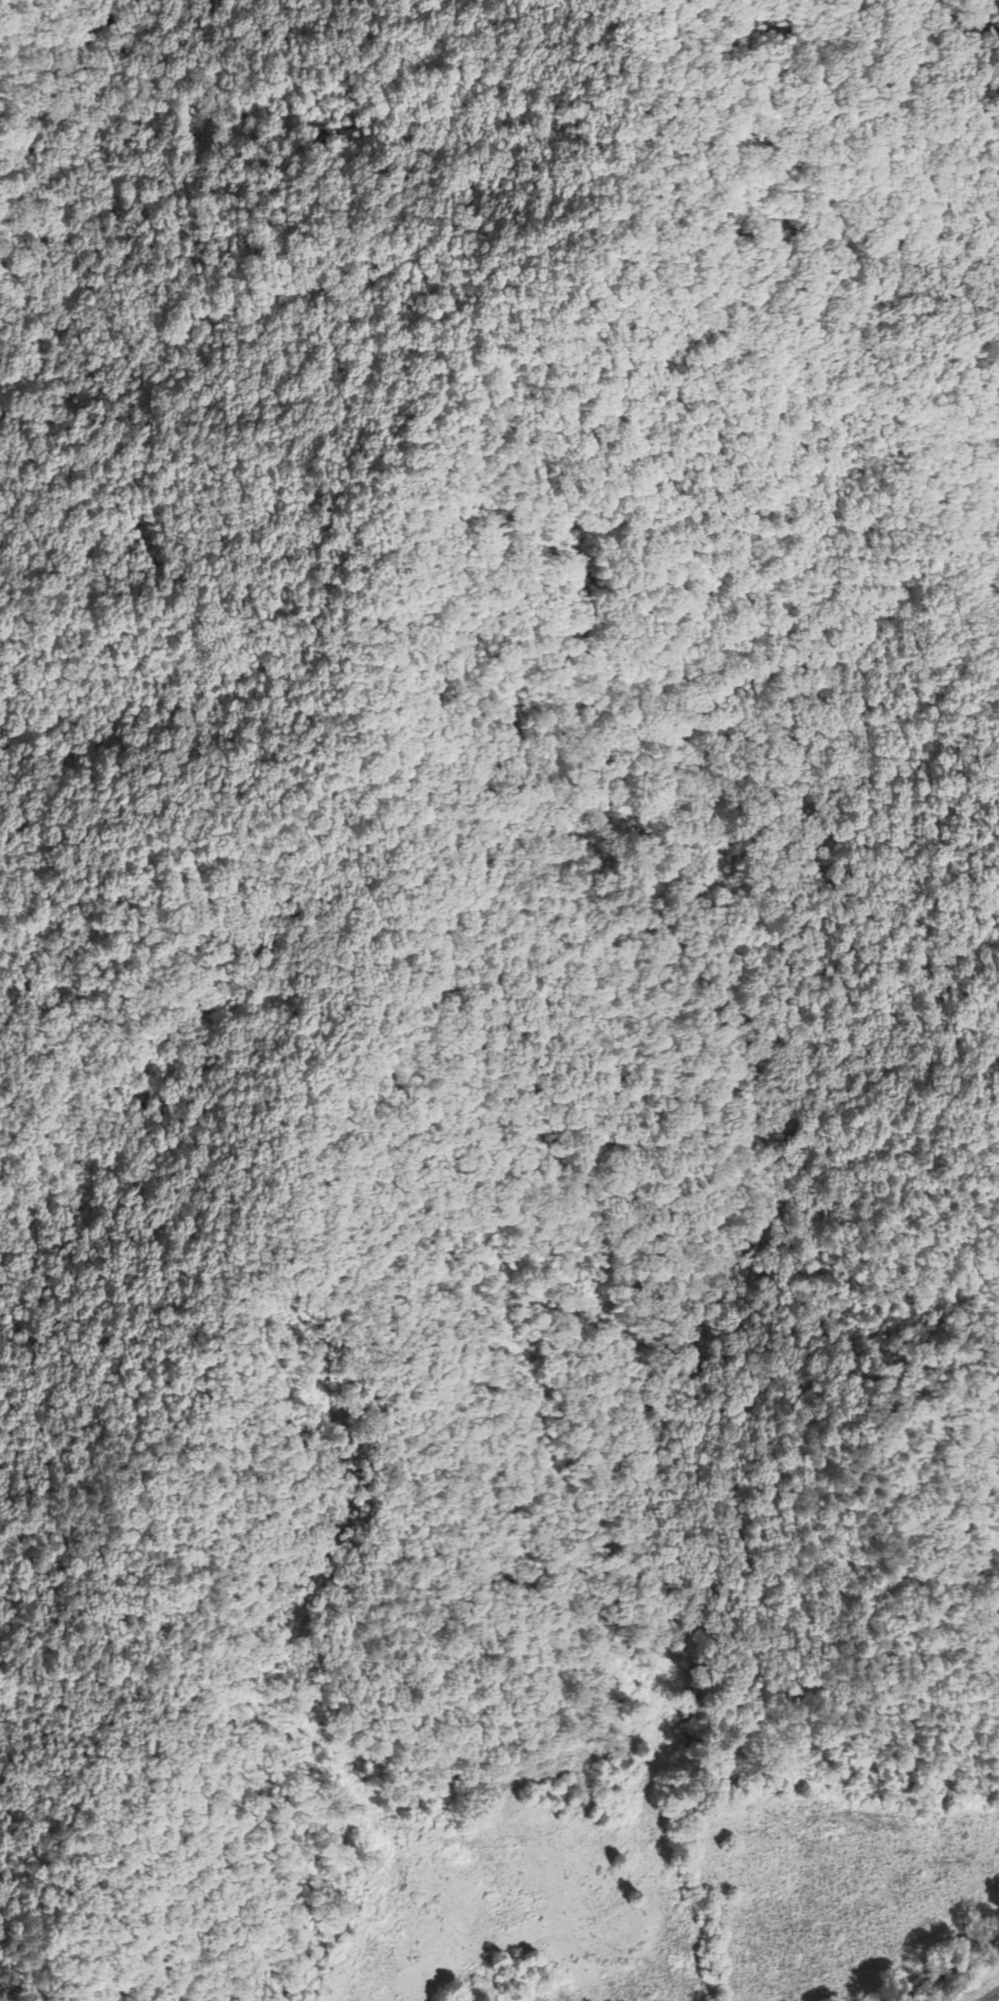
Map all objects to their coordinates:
river: (938, 1962)
railway: (991, 1996)

